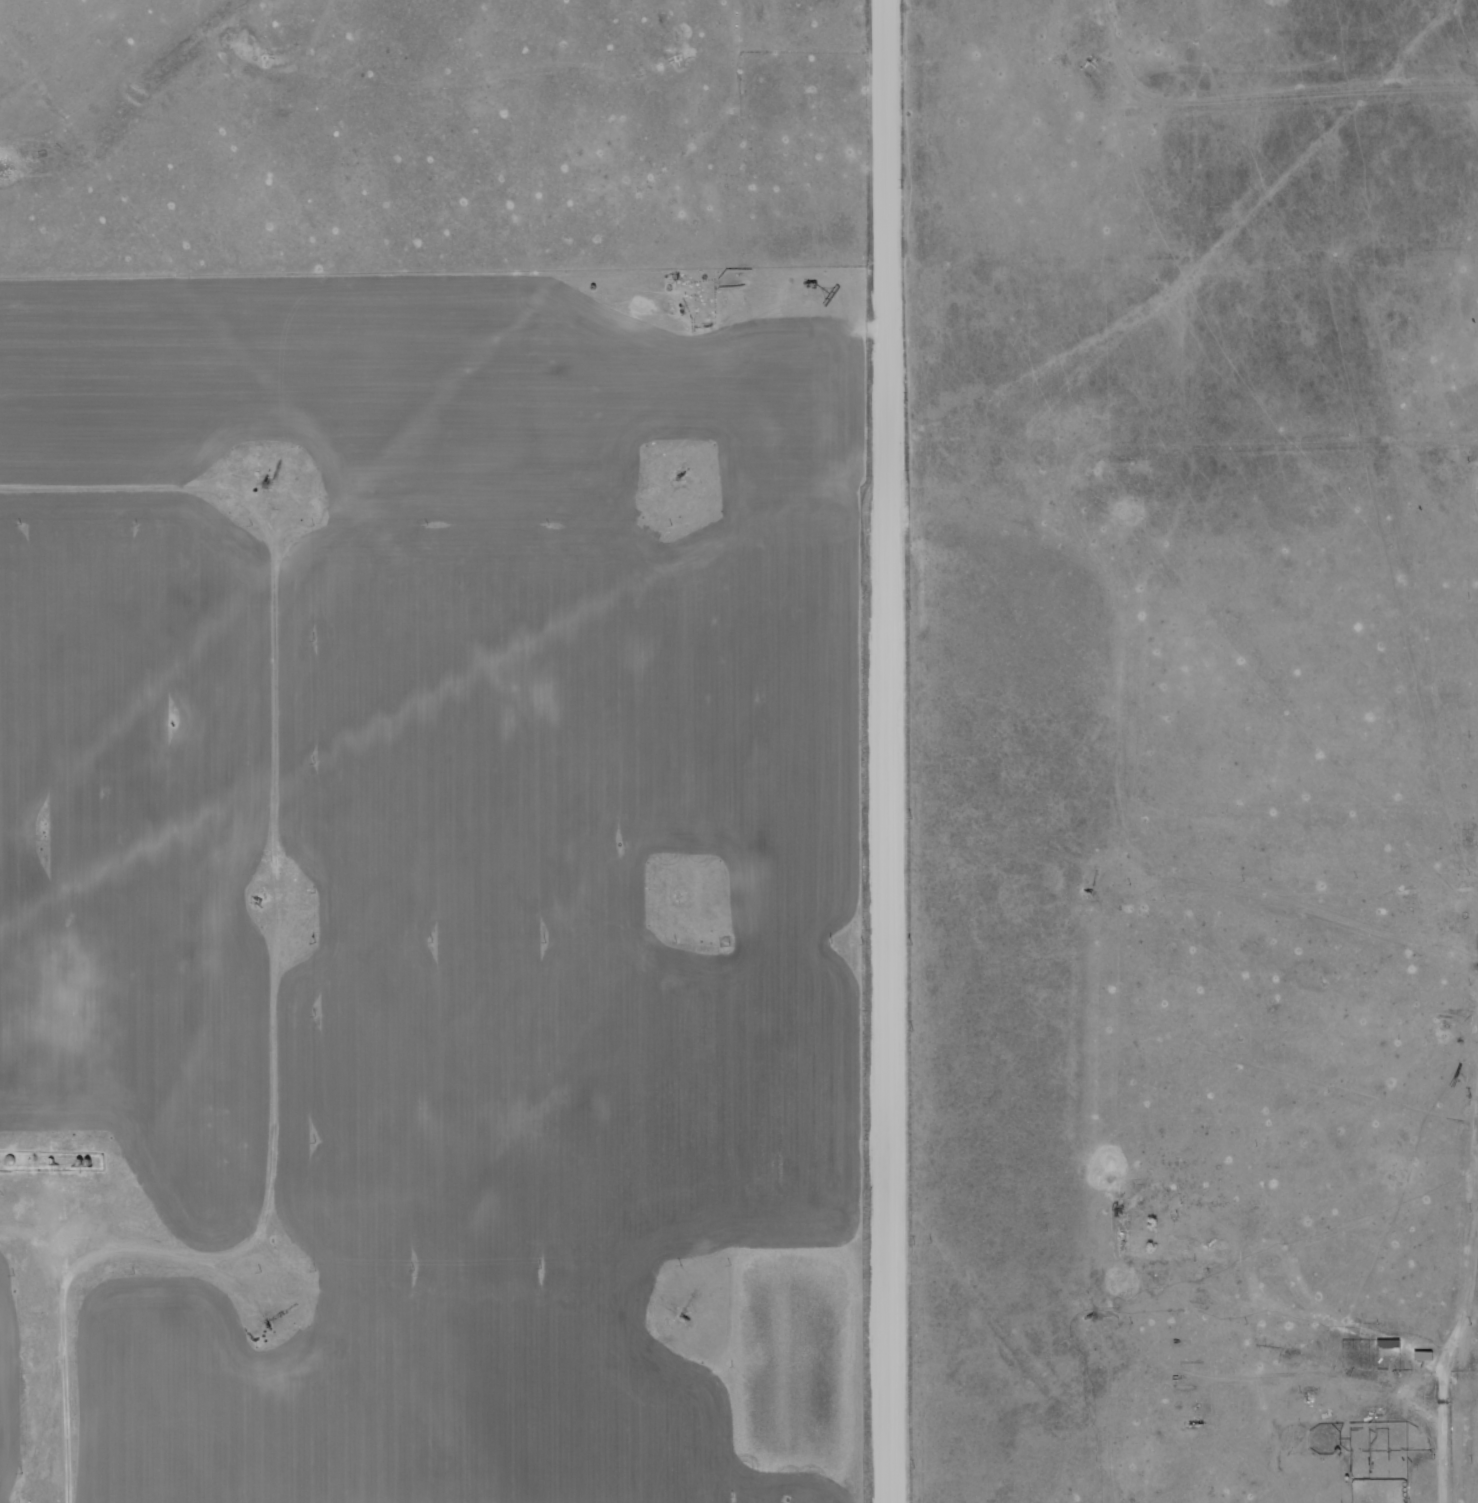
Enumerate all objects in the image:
road: (894, 751)

